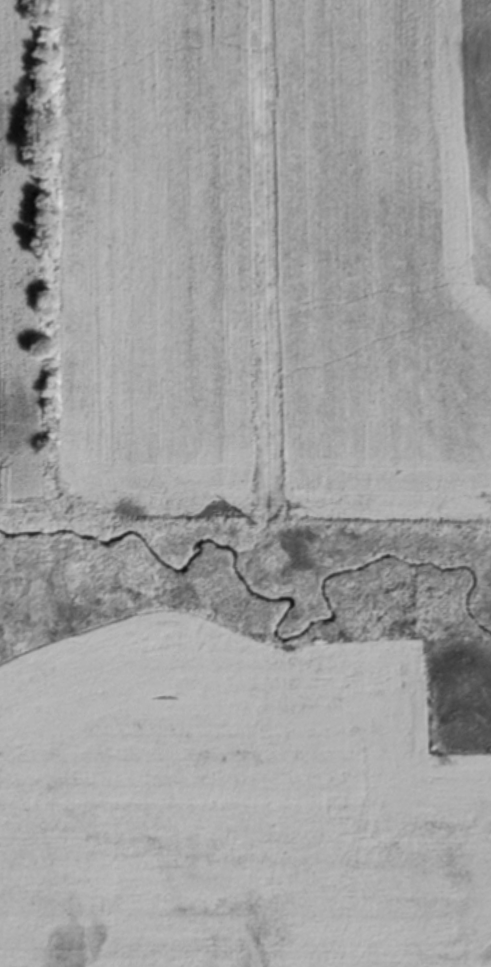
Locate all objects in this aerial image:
power tower: (256, 521)

